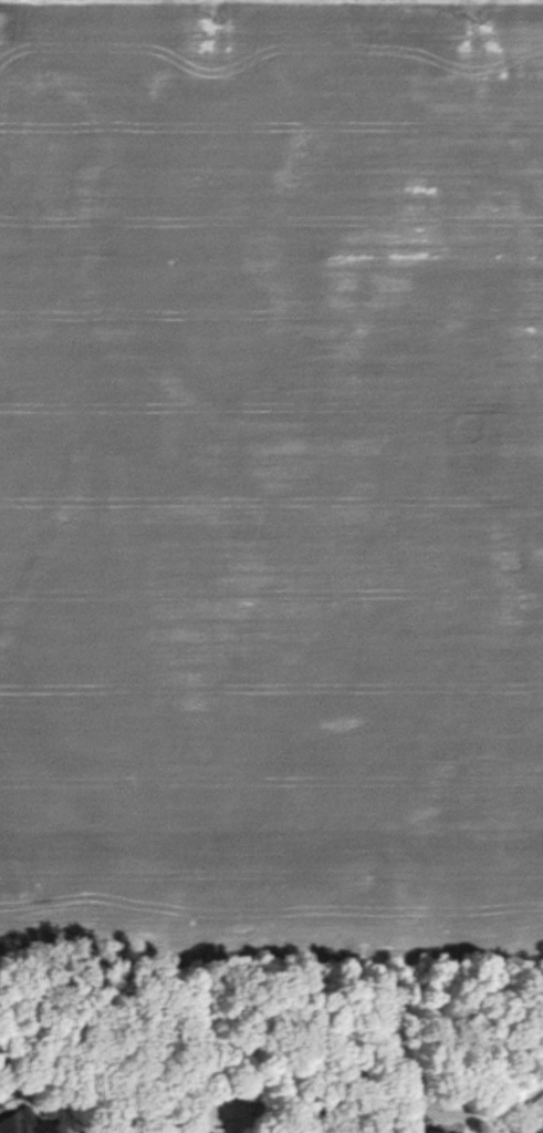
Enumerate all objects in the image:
building: (15, 1121)
building: (446, 1130)
building: (199, 1132)

